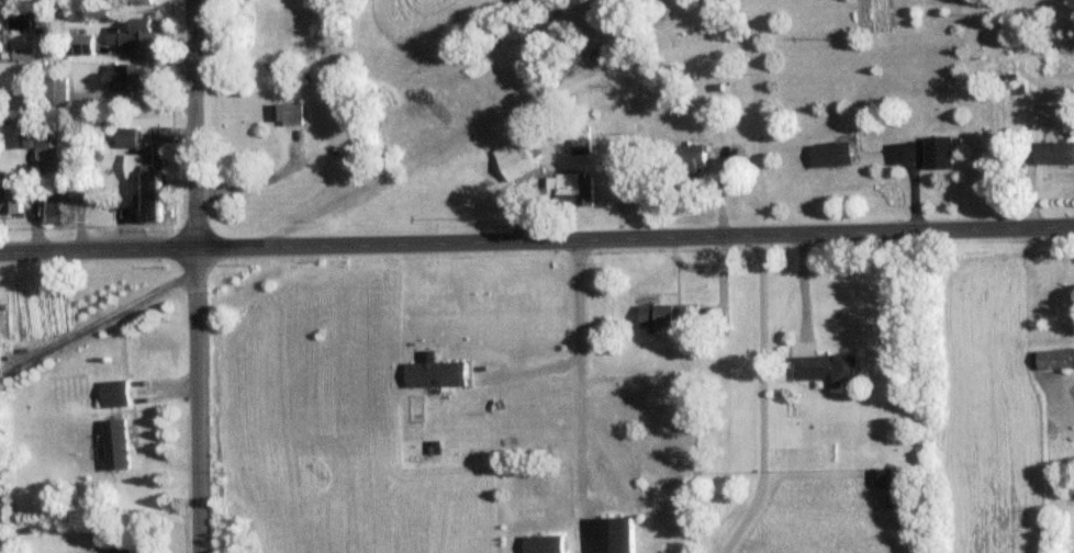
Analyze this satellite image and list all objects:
building: (7, 0)
building: (141, 1)
building: (132, 34)
building: (78, 43)
building: (128, 75)
building: (55, 92)
building: (284, 113)
building: (32, 119)
road: (198, 127)
building: (579, 142)
building: (1053, 150)
building: (936, 151)
building: (691, 154)
building: (829, 154)
building: (513, 157)
building: (143, 169)
building: (572, 189)
building: (9, 198)
building: (53, 202)
road: (536, 245)
road: (200, 264)
building: (668, 314)
road: (100, 319)
building: (1054, 358)
building: (826, 366)
road: (574, 373)
building: (113, 394)
road: (756, 400)
road: (202, 414)
building: (115, 443)
building: (891, 488)
building: (612, 534)
building: (541, 543)
building: (120, 549)

